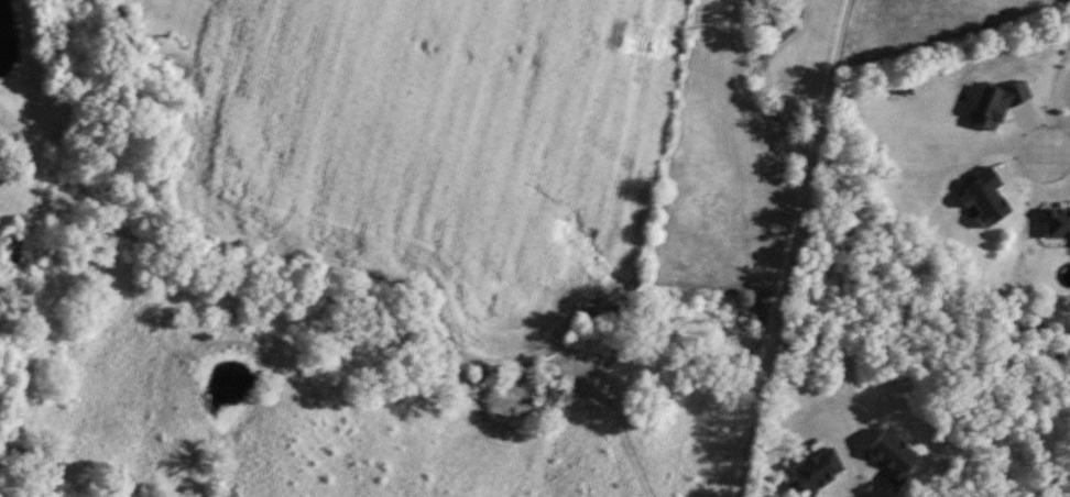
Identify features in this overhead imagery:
road: (1058, 154)
building: (982, 198)
building: (1056, 219)
road: (791, 247)
building: (891, 455)

